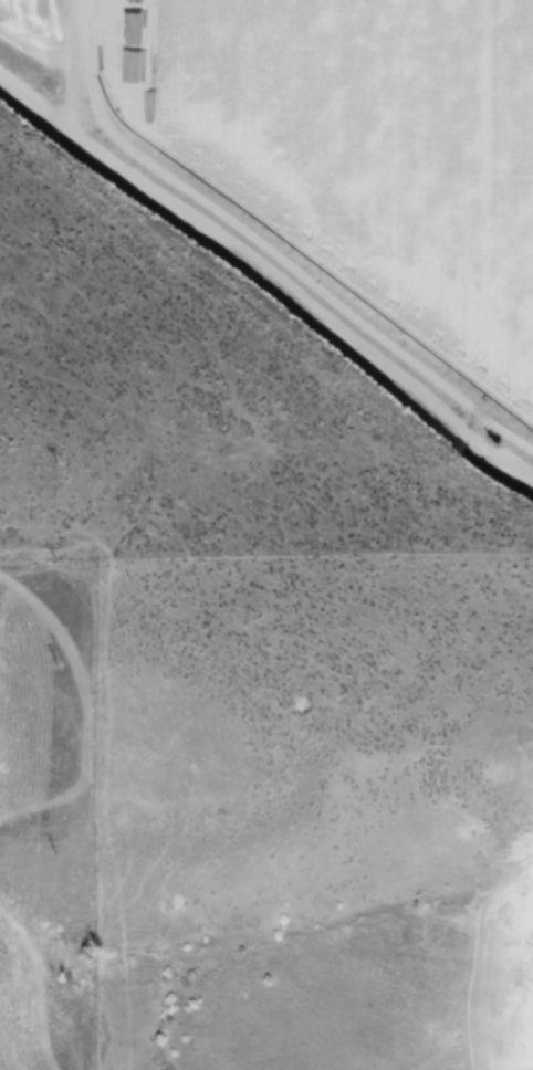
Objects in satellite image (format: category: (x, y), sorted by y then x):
road: (84, 14)

